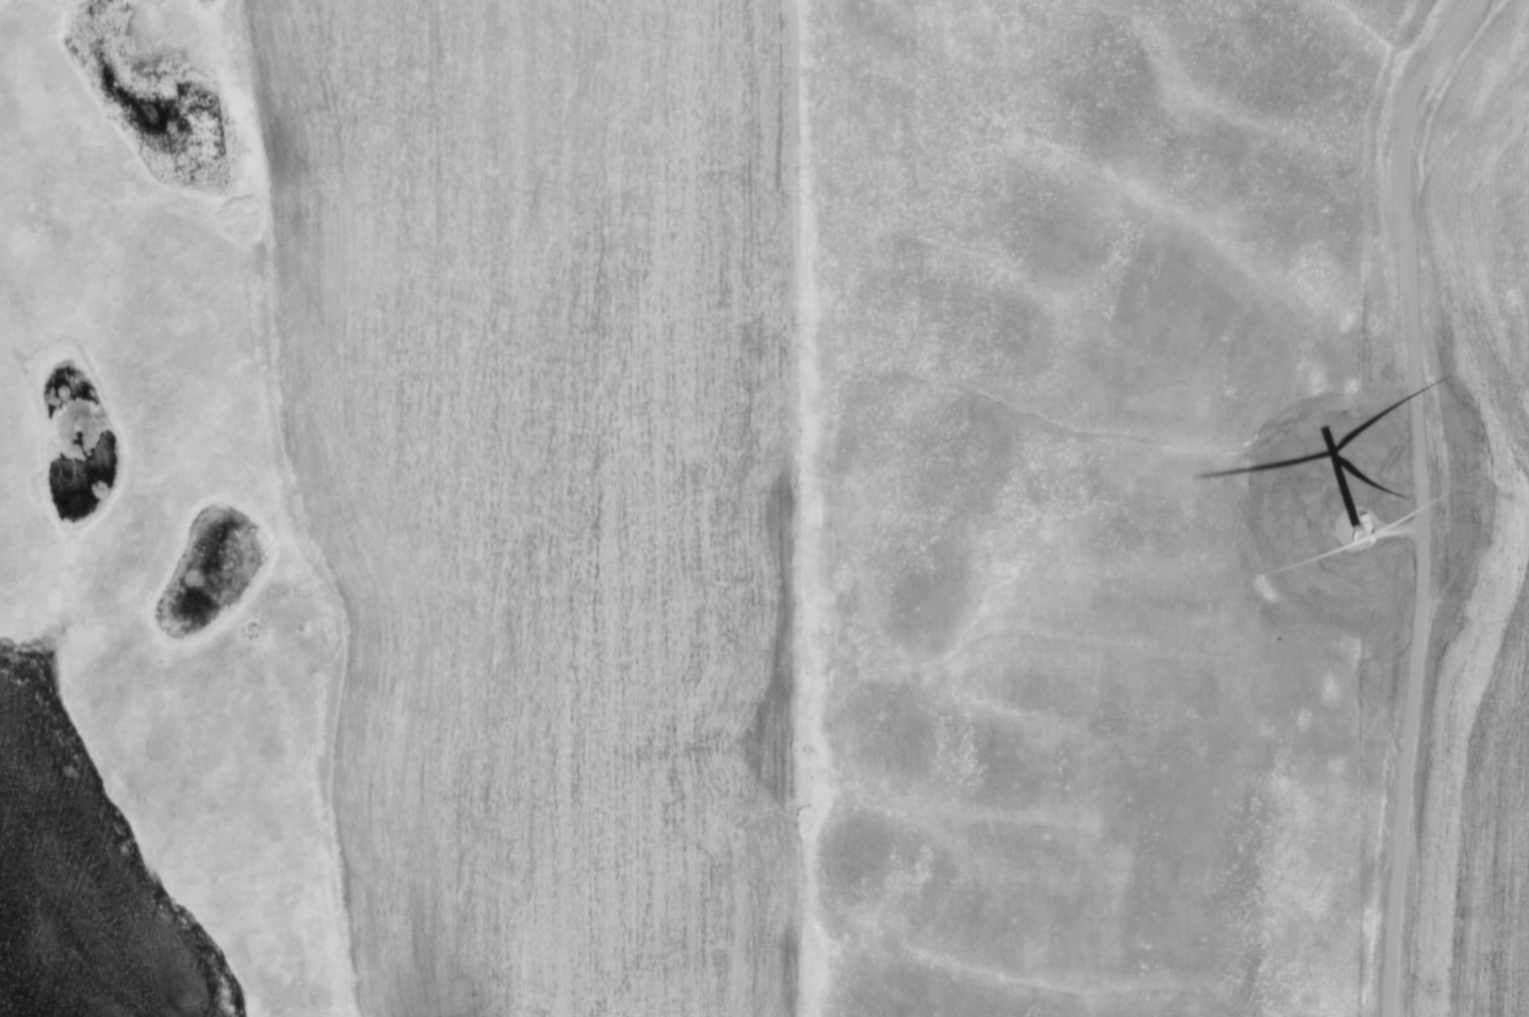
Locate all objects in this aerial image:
wind turbine: (1347, 519)

